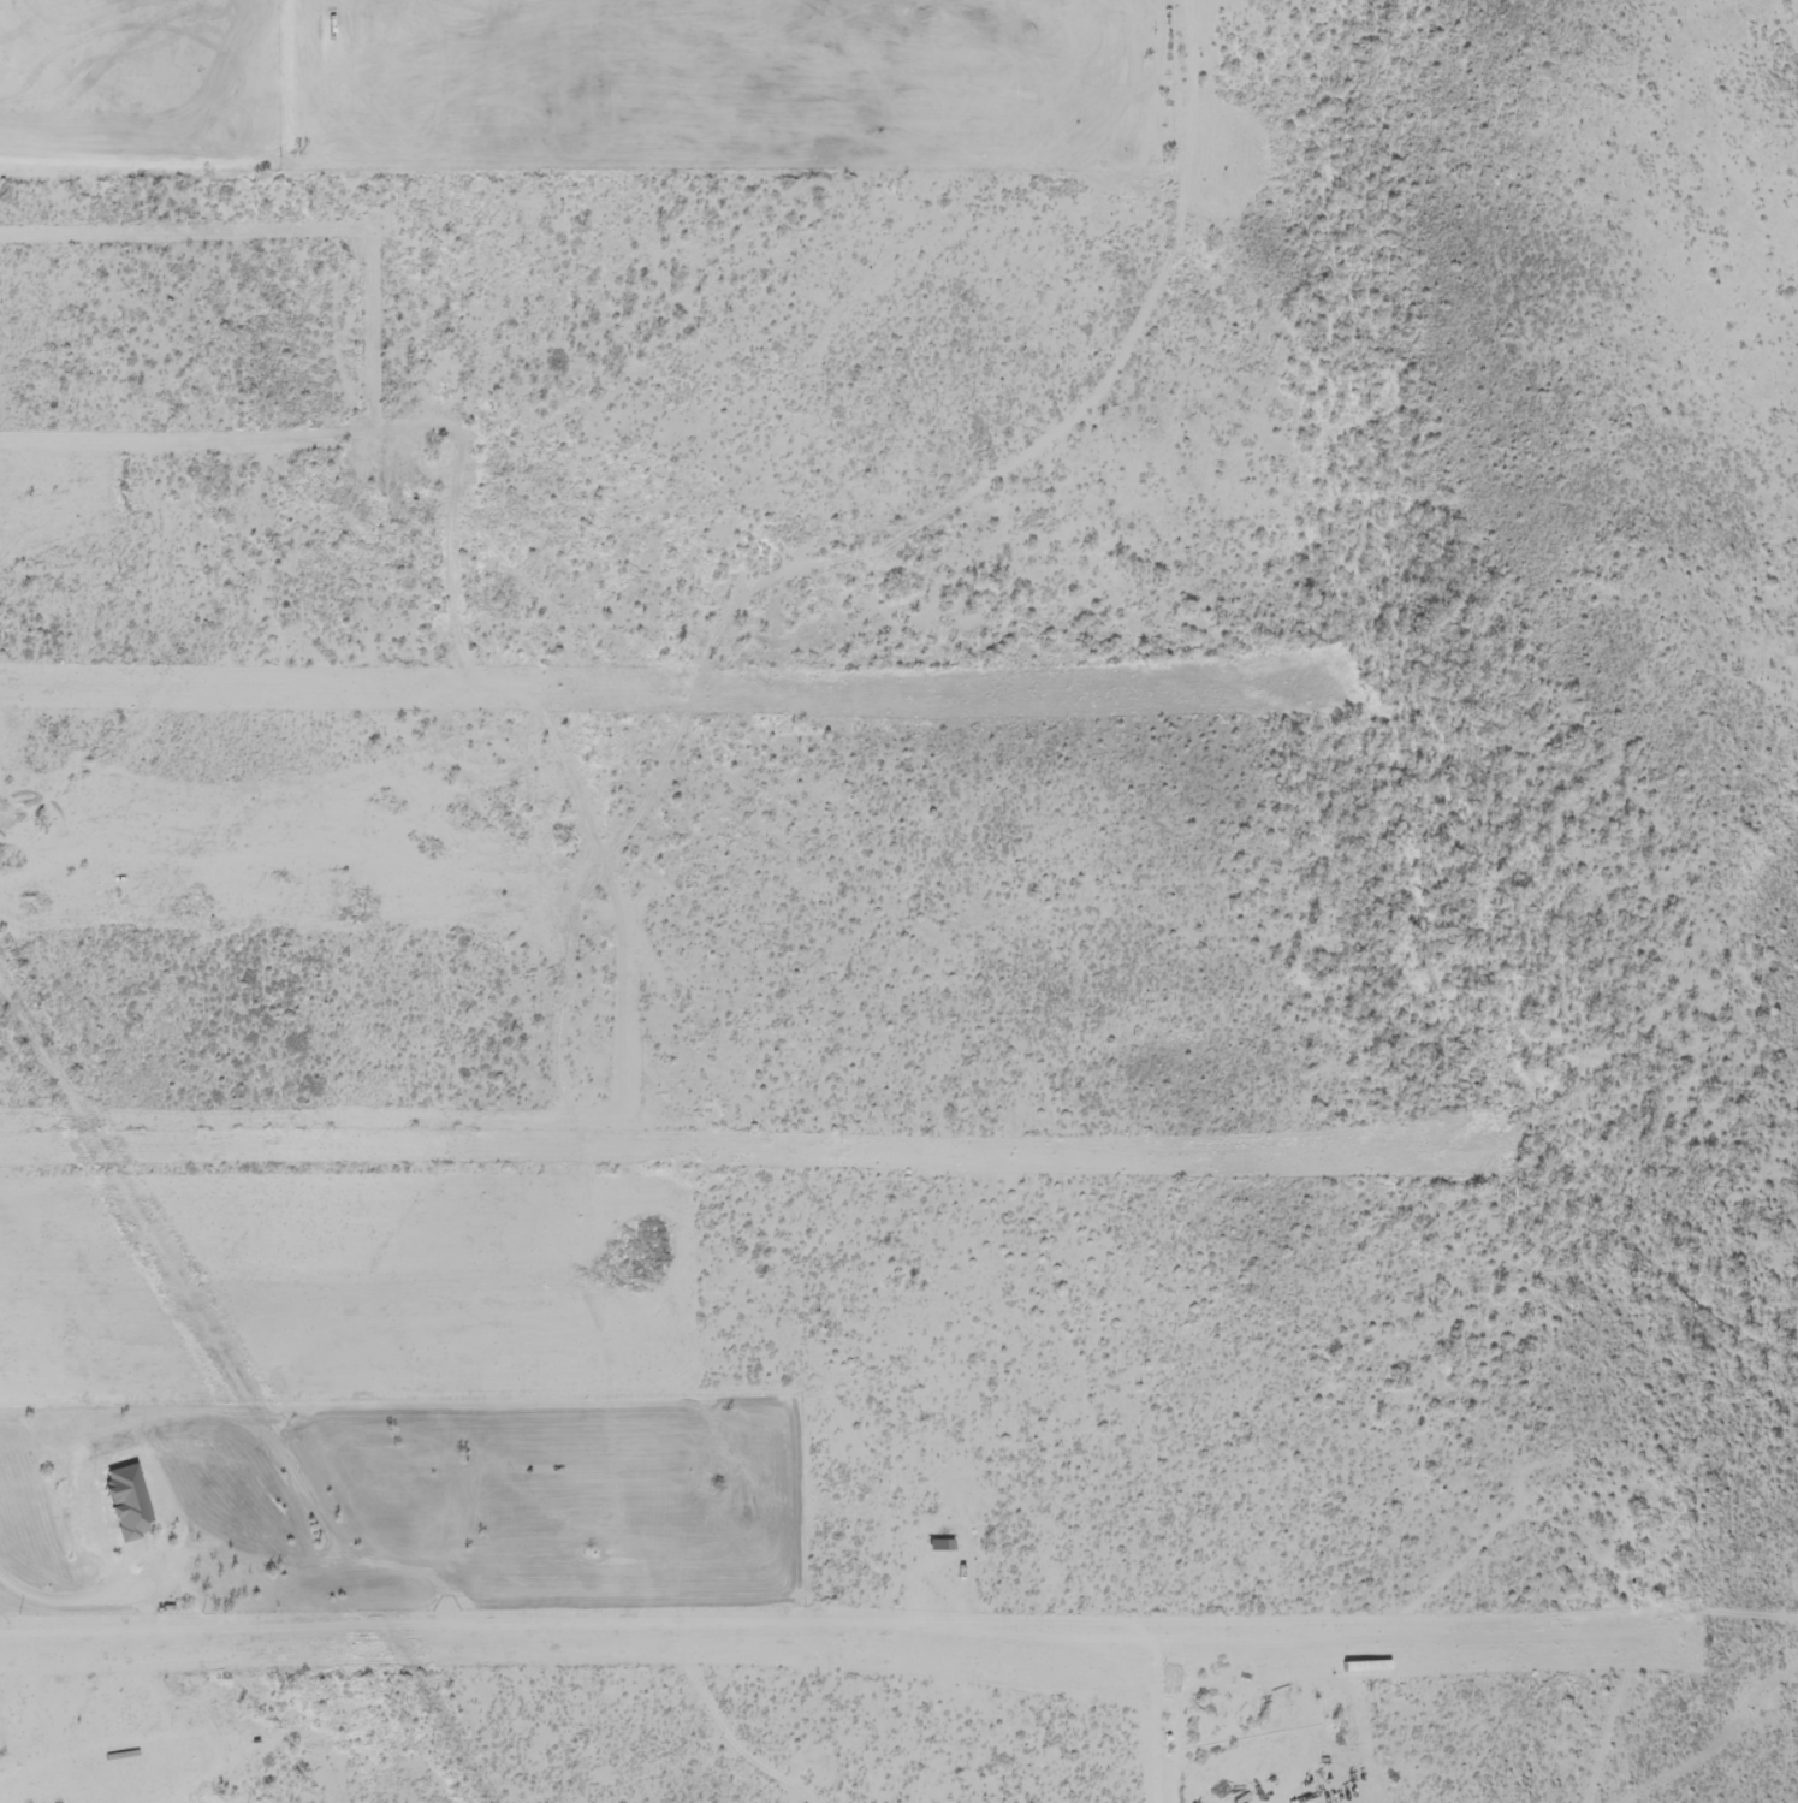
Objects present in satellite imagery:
road: (226, 516)
road: (640, 817)
road: (330, 1466)

